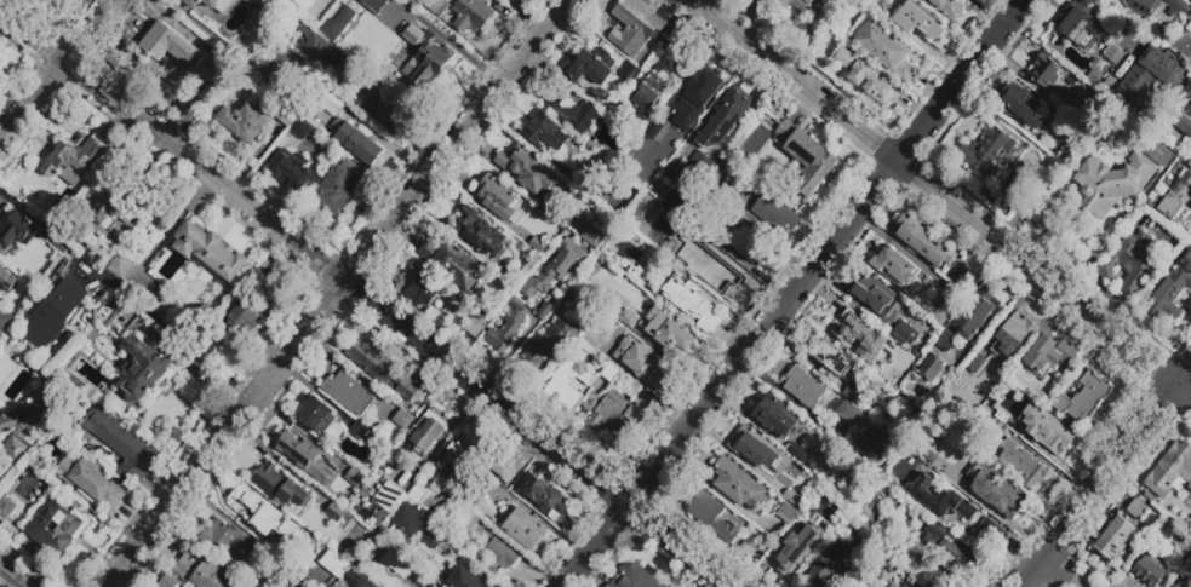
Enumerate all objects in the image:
building: (253, 0)
building: (199, 4)
building: (373, 4)
building: (798, 5)
building: (435, 6)
building: (1178, 6)
building: (947, 7)
building: (1143, 7)
building: (386, 8)
building: (471, 15)
building: (917, 22)
building: (337, 23)
building: (637, 23)
building: (1082, 25)
road: (30, 35)
building: (397, 36)
building: (171, 47)
building: (322, 50)
building: (884, 50)
building: (1113, 54)
building: (288, 61)
building: (428, 63)
building: (590, 67)
road: (55, 69)
building: (1044, 71)
building: (631, 73)
building: (868, 77)
building: (1094, 77)
building: (1144, 84)
building: (648, 93)
building: (700, 94)
building: (1024, 105)
building: (334, 107)
building: (384, 109)
building: (1187, 110)
building: (1071, 111)
building: (574, 115)
building: (287, 117)
building: (723, 120)
building: (244, 122)
building: (1184, 126)
building: (300, 130)
building: (1123, 130)
building: (544, 132)
building: (660, 132)
building: (622, 142)
building: (357, 144)
building: (987, 151)
building: (1157, 152)
building: (333, 155)
building: (808, 159)
building: (76, 160)
building: (699, 167)
building: (291, 171)
building: (526, 171)
building: (1111, 183)
building: (1189, 183)
building: (337, 190)
building: (566, 190)
road: (943, 196)
building: (619, 198)
building: (121, 201)
building: (497, 201)
building: (672, 202)
building: (1169, 206)
building: (648, 207)
building: (774, 214)
building: (588, 220)
building: (704, 228)
building: (18, 231)
building: (480, 232)
building: (590, 236)
building: (923, 242)
building: (750, 246)
building: (63, 247)
building: (211, 251)
building: (453, 264)
building: (1130, 264)
building: (120, 265)
building: (505, 270)
building: (555, 270)
building: (723, 272)
building: (645, 278)
building: (6, 280)
building: (906, 282)
building: (423, 289)
building: (939, 289)
road: (334, 292)
road: (794, 292)
building: (1169, 293)
building: (573, 297)
building: (875, 297)
building: (692, 304)
building: (517, 305)
building: (111, 310)
building: (544, 311)
building: (975, 312)
building: (55, 315)
building: (250, 317)
building: (626, 318)
building: (4, 320)
building: (561, 322)
road: (395, 323)
building: (475, 328)
building: (668, 330)
building: (504, 332)
building: (905, 332)
building: (603, 333)
building: (859, 335)
building: (1013, 336)
building: (945, 340)
building: (543, 346)
building: (623, 347)
building: (230, 353)
building: (1048, 356)
building: (831, 358)
building: (975, 363)
building: (649, 366)
building: (144, 368)
building: (380, 369)
building: (931, 369)
building: (609, 373)
building: (69, 382)
building: (568, 384)
building: (624, 386)
building: (805, 387)
building: (349, 395)
building: (1084, 398)
building: (957, 412)
building: (851, 415)
building: (317, 416)
building: (617, 418)
building: (774, 418)
building: (27, 419)
building: (402, 420)
building: (1003, 422)
building: (426, 431)
building: (1047, 431)
building: (359, 432)
building: (748, 441)
building: (943, 442)
building: (121, 444)
building: (872, 447)
building: (298, 448)
building: (15, 449)
building: (458, 455)
building: (393, 457)
building: (337, 462)
building: (502, 465)
building: (1023, 465)
building: (1170, 471)
road: (1104, 477)
building: (783, 478)
building: (984, 480)
building: (91, 483)
building: (735, 483)
building: (280, 487)
building: (489, 488)
building: (416, 494)
building: (1149, 497)
building: (543, 499)
building: (940, 500)
building: (386, 502)
building: (1138, 510)
building: (6, 511)
building: (263, 516)
building: (337, 516)
building: (712, 517)
building: (411, 519)
building: (466, 524)
building: (57, 529)
building: (525, 529)
building: (899, 530)
building: (992, 533)
building: (1168, 535)
building: (1116, 537)
building: (223, 541)
building: (431, 541)
building: (944, 548)
building: (796, 549)
building: (498, 557)
building: (264, 559)
building: (834, 559)
building: (914, 563)
building: (334, 564)
building: (200, 570)
road: (1063, 571)
building: (1147, 572)
road: (15, 574)
building: (636, 577)
building: (464, 579)
building: (361, 582)
building: (1187, 582)
building: (429, 585)
building: (931, 585)

